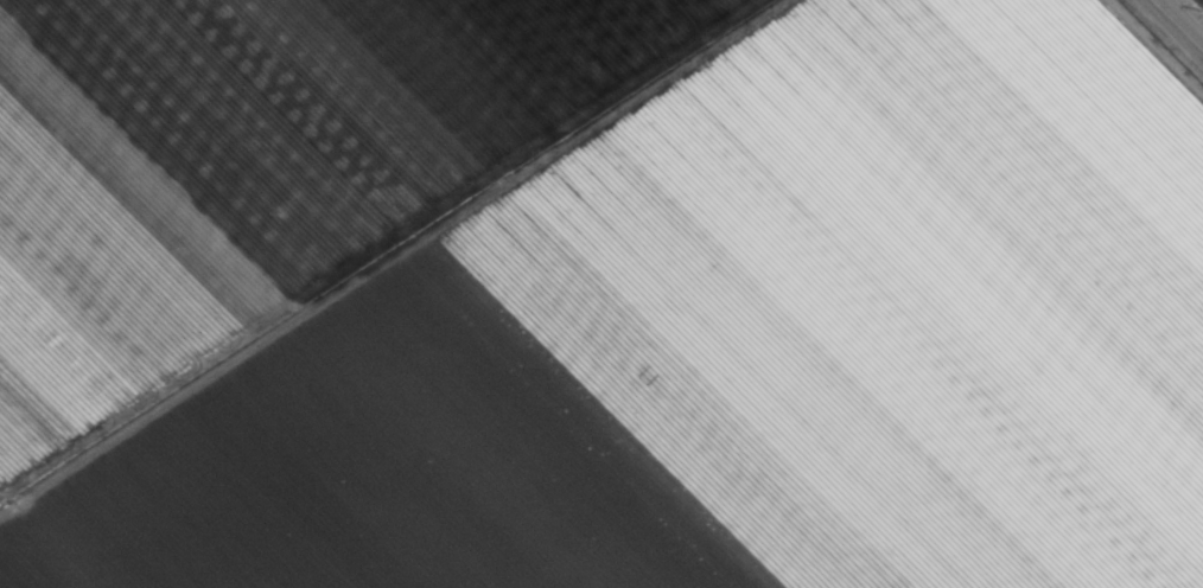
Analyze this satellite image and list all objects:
crop: (1201, 1)
road: (1183, 18)
crop: (597, 295)

